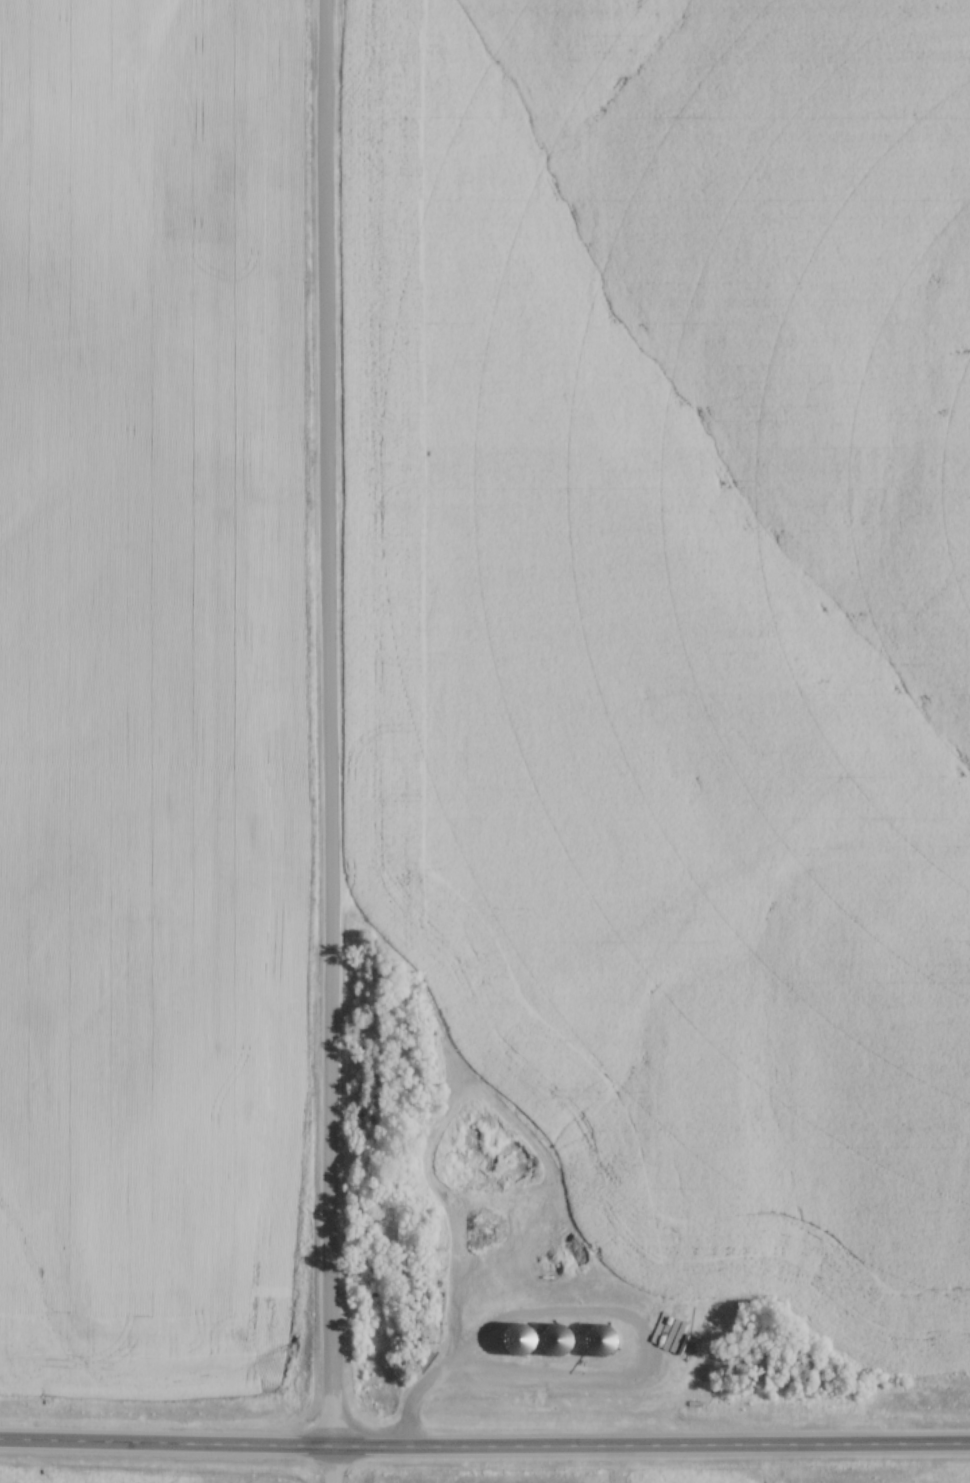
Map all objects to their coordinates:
road: (325, 741)
road: (484, 1455)

